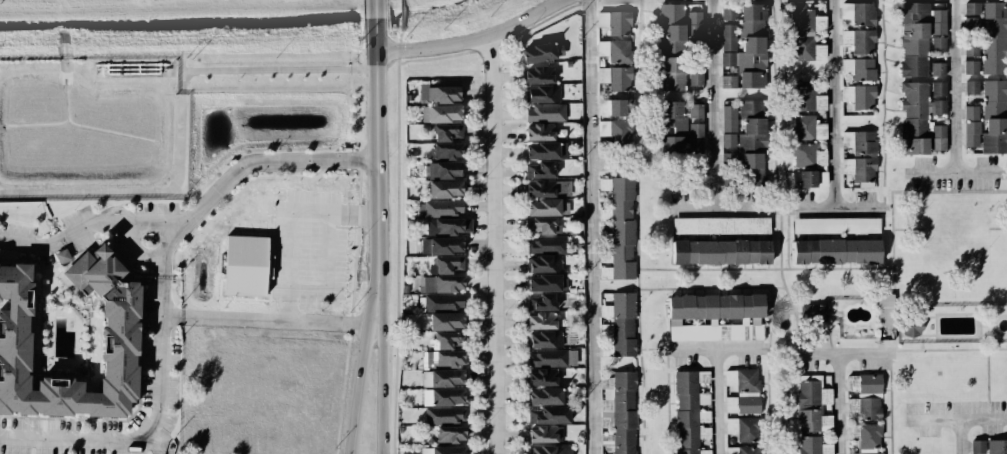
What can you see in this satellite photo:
building: (858, 13)
building: (728, 14)
building: (972, 16)
building: (694, 24)
building: (670, 27)
building: (802, 34)
building: (615, 37)
building: (994, 38)
building: (920, 39)
road: (473, 41)
building: (938, 44)
building: (745, 50)
building: (971, 51)
building: (542, 52)
building: (971, 67)
road: (277, 69)
building: (858, 69)
building: (695, 72)
building: (671, 74)
building: (538, 75)
road: (180, 78)
building: (615, 78)
road: (955, 86)
building: (972, 87)
building: (440, 94)
building: (543, 94)
building: (807, 99)
road: (715, 101)
road: (835, 102)
building: (613, 107)
building: (444, 113)
building: (545, 113)
building: (919, 113)
building: (971, 113)
building: (994, 117)
building: (728, 126)
building: (671, 128)
building: (695, 128)
building: (615, 130)
building: (446, 132)
building: (539, 132)
building: (971, 134)
road: (375, 135)
building: (938, 137)
building: (752, 139)
building: (803, 140)
building: (446, 150)
building: (546, 151)
building: (859, 156)
building: (444, 170)
building: (540, 170)
road: (956, 174)
building: (809, 179)
road: (226, 181)
building: (545, 188)
building: (445, 189)
road: (135, 192)
road: (721, 202)
road: (836, 204)
building: (547, 207)
building: (439, 208)
road: (354, 214)
road: (158, 220)
building: (543, 225)
building: (721, 225)
building: (836, 225)
building: (448, 226)
road: (592, 227)
building: (620, 228)
road: (65, 237)
building: (546, 245)
road: (494, 246)
road: (292, 247)
building: (836, 251)
building: (721, 252)
building: (62, 256)
building: (448, 264)
building: (543, 264)
building: (246, 266)
road: (330, 272)
building: (543, 283)
building: (441, 284)
building: (443, 302)
building: (541, 302)
building: (885, 310)
building: (813, 313)
road: (367, 314)
building: (715, 318)
road: (224, 319)
building: (446, 321)
building: (541, 321)
road: (327, 323)
building: (621, 324)
building: (912, 326)
road: (378, 335)
building: (447, 340)
building: (545, 340)
building: (119, 343)
road: (717, 353)
road: (838, 357)
building: (447, 359)
building: (548, 365)
building: (447, 378)
building: (742, 391)
building: (447, 396)
building: (545, 396)
building: (864, 396)
building: (811, 402)
road: (718, 404)
road: (840, 405)
road: (355, 406)
road: (956, 410)
building: (688, 412)
building: (619, 413)
building: (444, 415)
building: (548, 415)
road: (155, 419)
road: (380, 427)
building: (744, 428)
building: (704, 432)
road: (962, 432)
building: (451, 434)
building: (542, 434)
building: (864, 439)
building: (813, 446)
building: (989, 447)
building: (448, 450)
building: (550, 450)
building: (743, 450)

